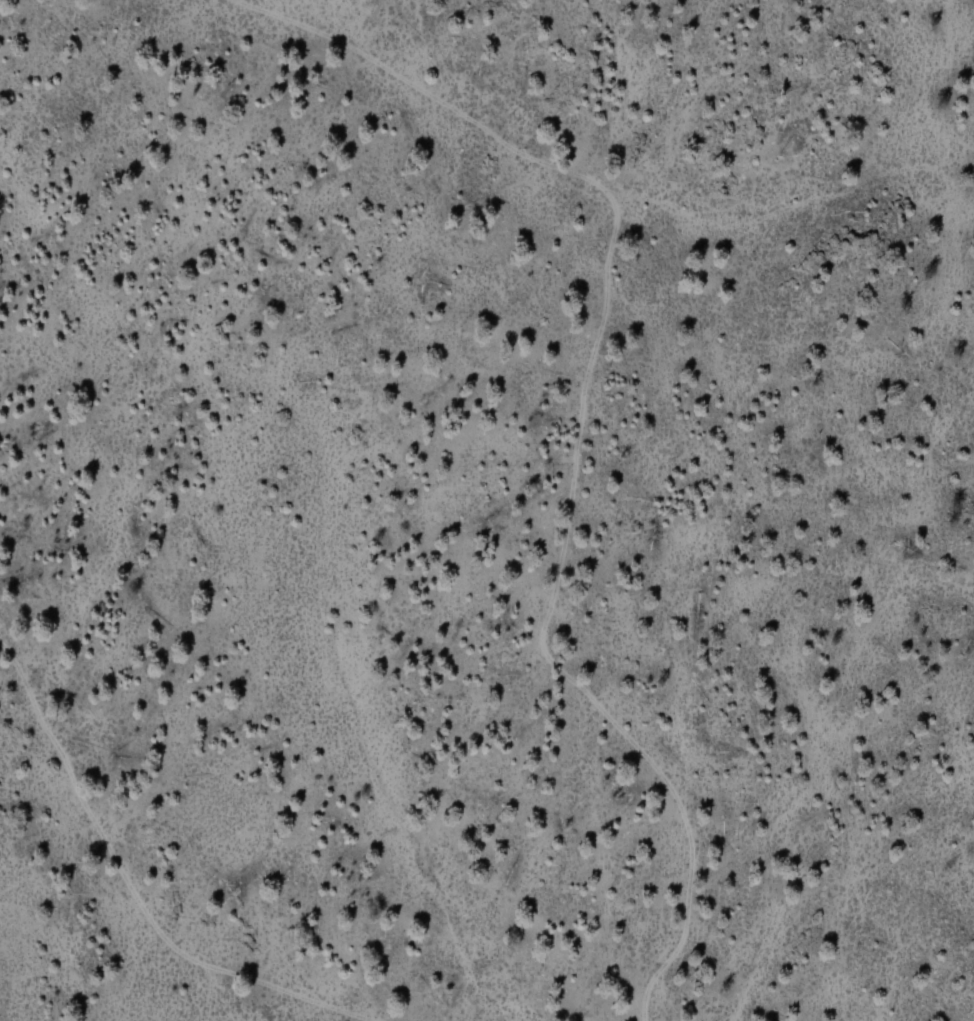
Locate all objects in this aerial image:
road: (484, 129)
road: (549, 631)
road: (131, 890)

